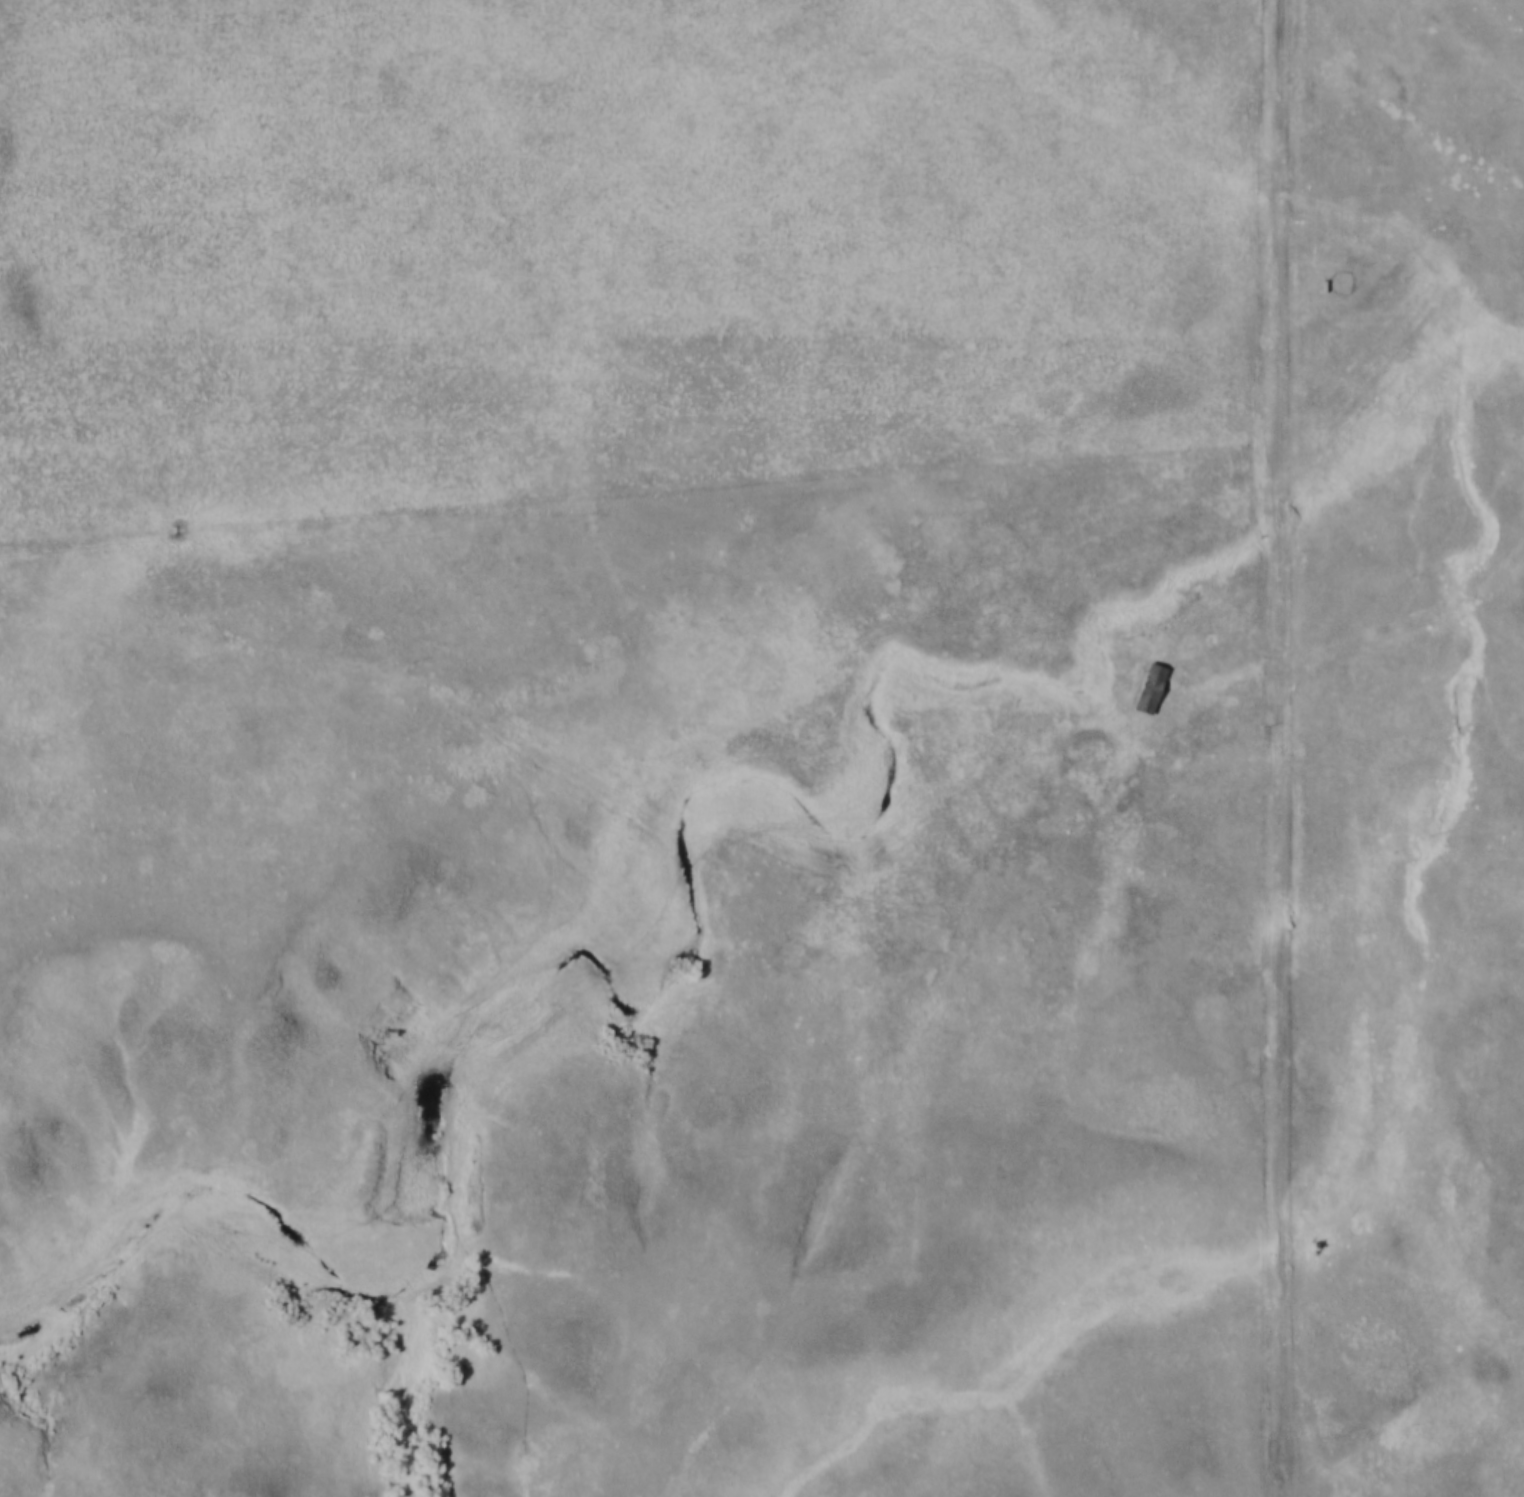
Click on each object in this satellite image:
building: (1148, 675)
building: (1151, 689)
road: (1283, 748)
road: (870, 867)
road: (562, 951)

